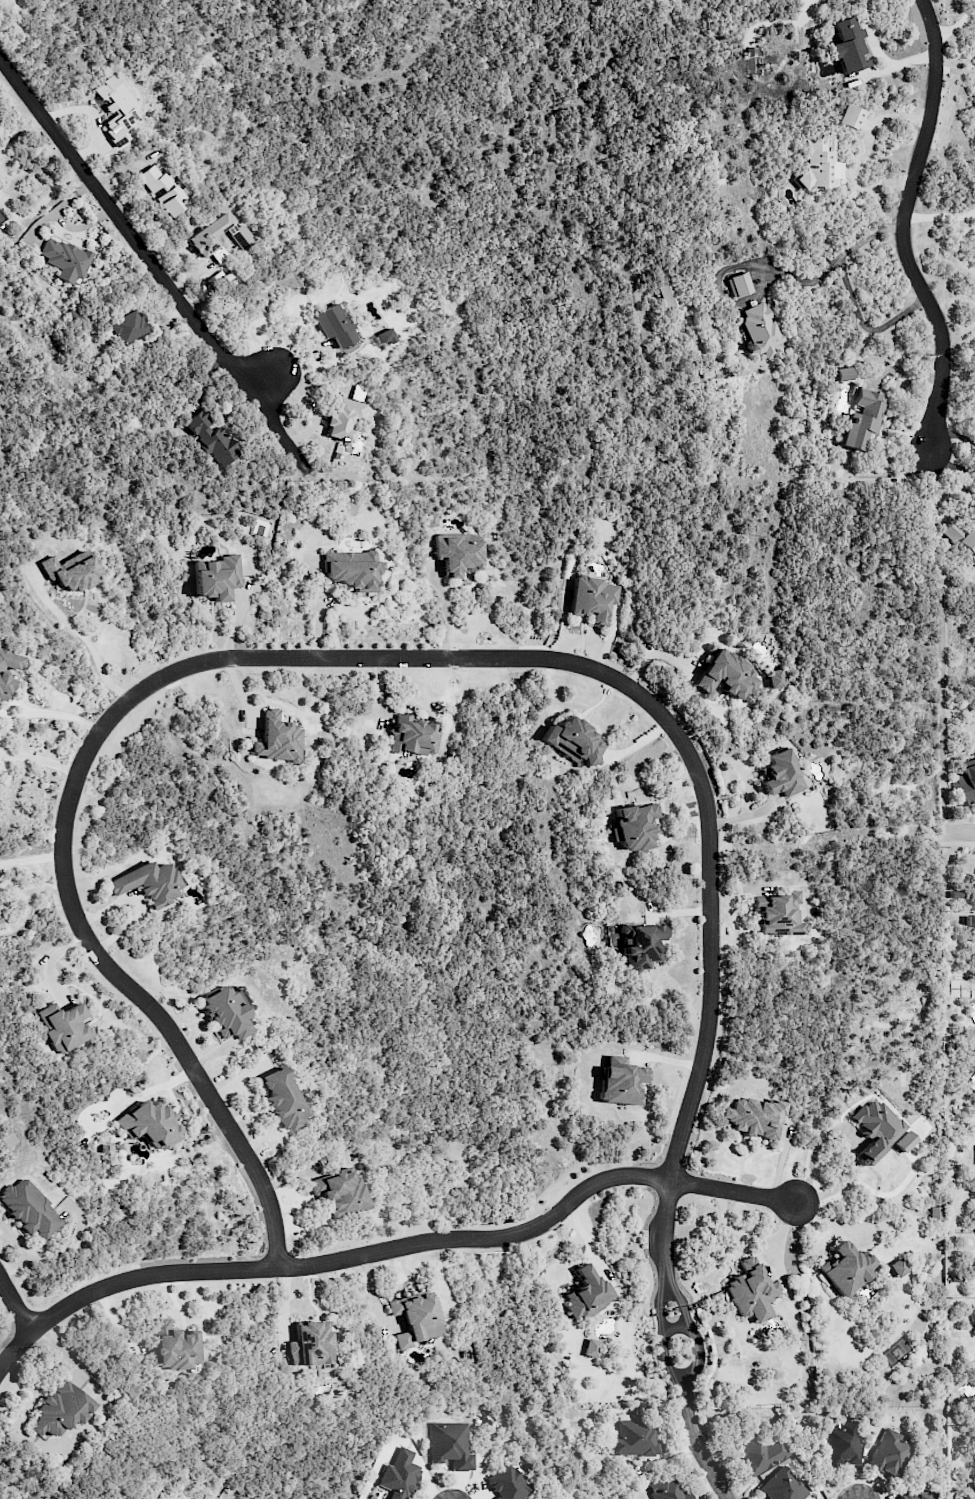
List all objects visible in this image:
road: (959, 23)
building: (848, 46)
building: (116, 109)
building: (848, 117)
building: (0, 119)
road: (21, 129)
building: (819, 165)
road: (40, 201)
building: (1, 217)
road: (903, 226)
building: (218, 238)
building: (65, 259)
road: (153, 265)
road: (775, 268)
building: (740, 284)
building: (669, 296)
road: (863, 325)
building: (334, 326)
building: (123, 328)
building: (760, 330)
building: (386, 337)
building: (840, 375)
road: (264, 383)
building: (344, 418)
building: (862, 418)
building: (212, 440)
building: (432, 520)
building: (962, 538)
building: (456, 555)
building: (352, 569)
building: (70, 573)
building: (217, 577)
building: (594, 598)
road: (80, 634)
road: (943, 640)
road: (310, 656)
building: (7, 671)
building: (727, 675)
building: (775, 679)
road: (51, 713)
building: (413, 736)
building: (277, 739)
building: (576, 740)
road: (39, 760)
building: (781, 774)
building: (966, 781)
building: (635, 826)
road: (961, 832)
road: (30, 859)
building: (149, 883)
building: (779, 915)
building: (969, 921)
building: (1, 924)
building: (641, 944)
building: (225, 1013)
building: (62, 1026)
building: (621, 1081)
building: (282, 1100)
building: (753, 1117)
building: (149, 1124)
building: (876, 1129)
building: (905, 1141)
road: (847, 1147)
building: (339, 1193)
building: (29, 1209)
road: (664, 1223)
road: (394, 1246)
building: (846, 1268)
building: (898, 1268)
building: (751, 1292)
building: (587, 1293)
road: (677, 1296)
road: (658, 1299)
road: (15, 1304)
building: (414, 1318)
road: (674, 1327)
building: (310, 1344)
building: (174, 1347)
building: (591, 1348)
road: (696, 1358)
road: (662, 1363)
building: (61, 1409)
building: (634, 1438)
building: (841, 1444)
building: (449, 1445)
road: (700, 1447)
building: (888, 1453)
building: (761, 1454)
building: (398, 1475)
building: (507, 1483)
building: (782, 1486)
building: (667, 1490)
building: (915, 1496)

